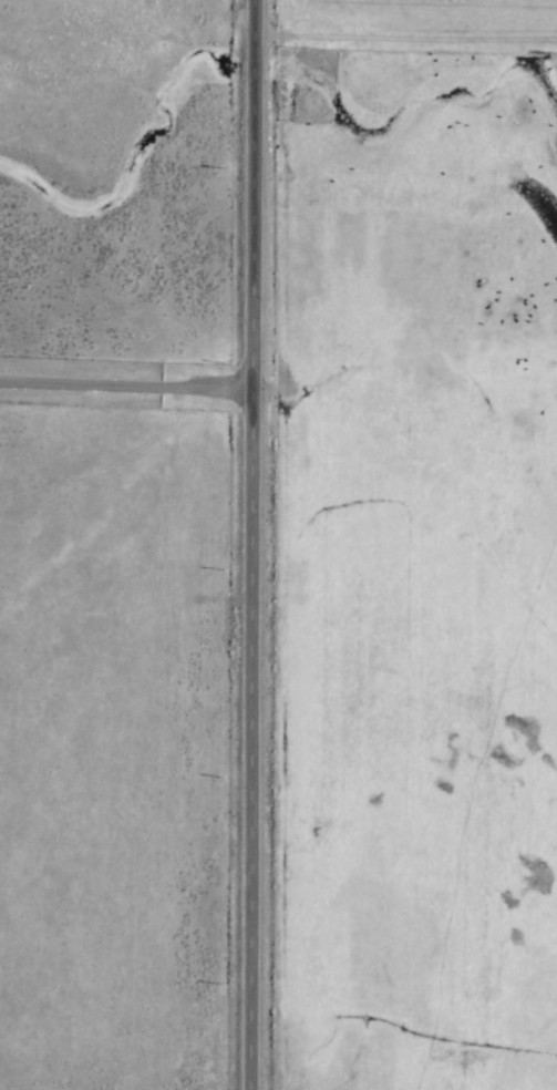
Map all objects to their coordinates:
road: (127, 388)
road: (254, 544)
crop: (278, 545)

